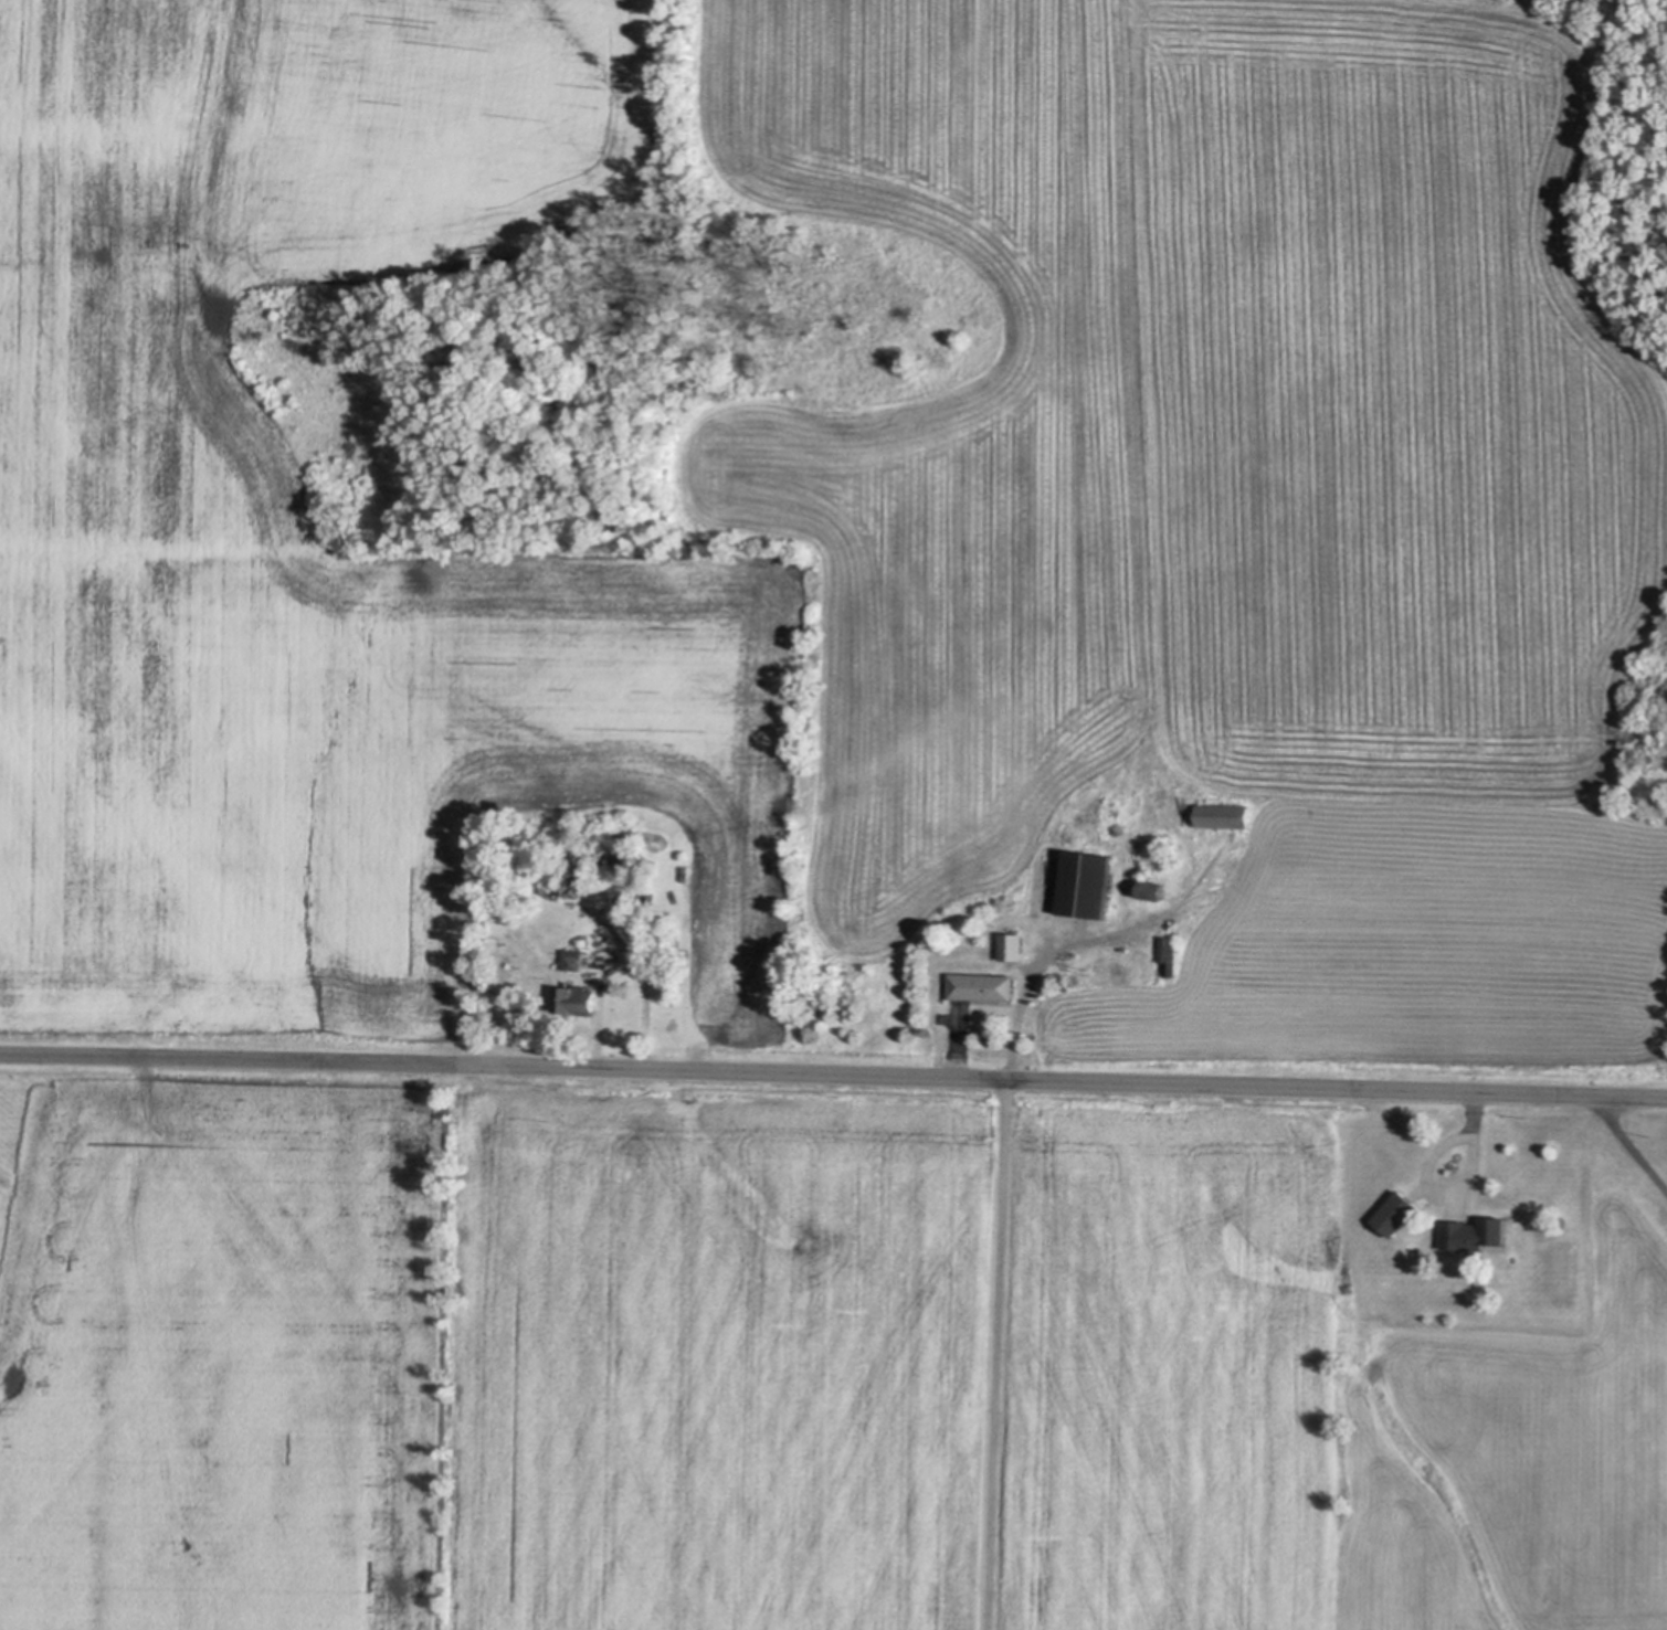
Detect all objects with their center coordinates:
building: (1222, 817)
building: (571, 885)
building: (1083, 885)
building: (1151, 891)
building: (1010, 948)
building: (1167, 957)
building: (570, 960)
road: (620, 970)
building: (979, 987)
building: (578, 1002)
road: (953, 1052)
road: (833, 1076)
road: (1626, 1145)
road: (1450, 1192)
building: (1399, 1213)
building: (1475, 1234)
road: (994, 1291)

